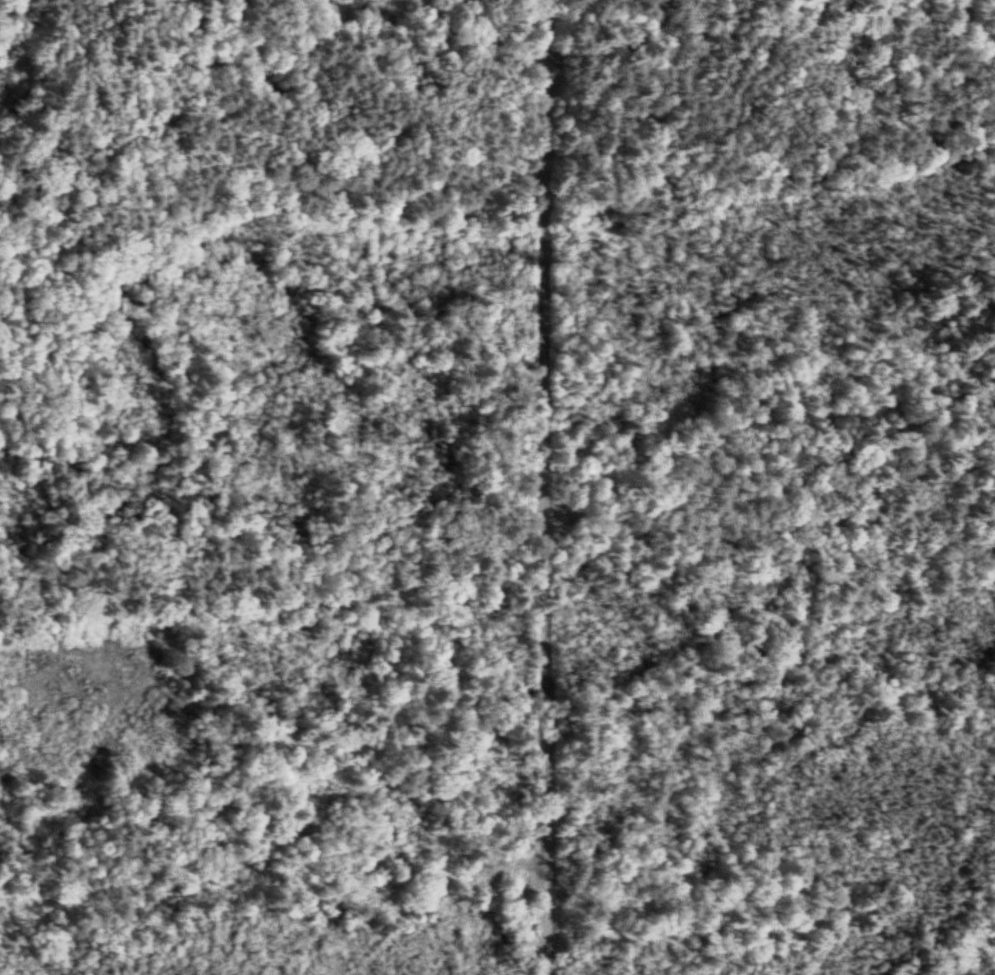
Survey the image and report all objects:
road: (543, 487)
road: (773, 491)

